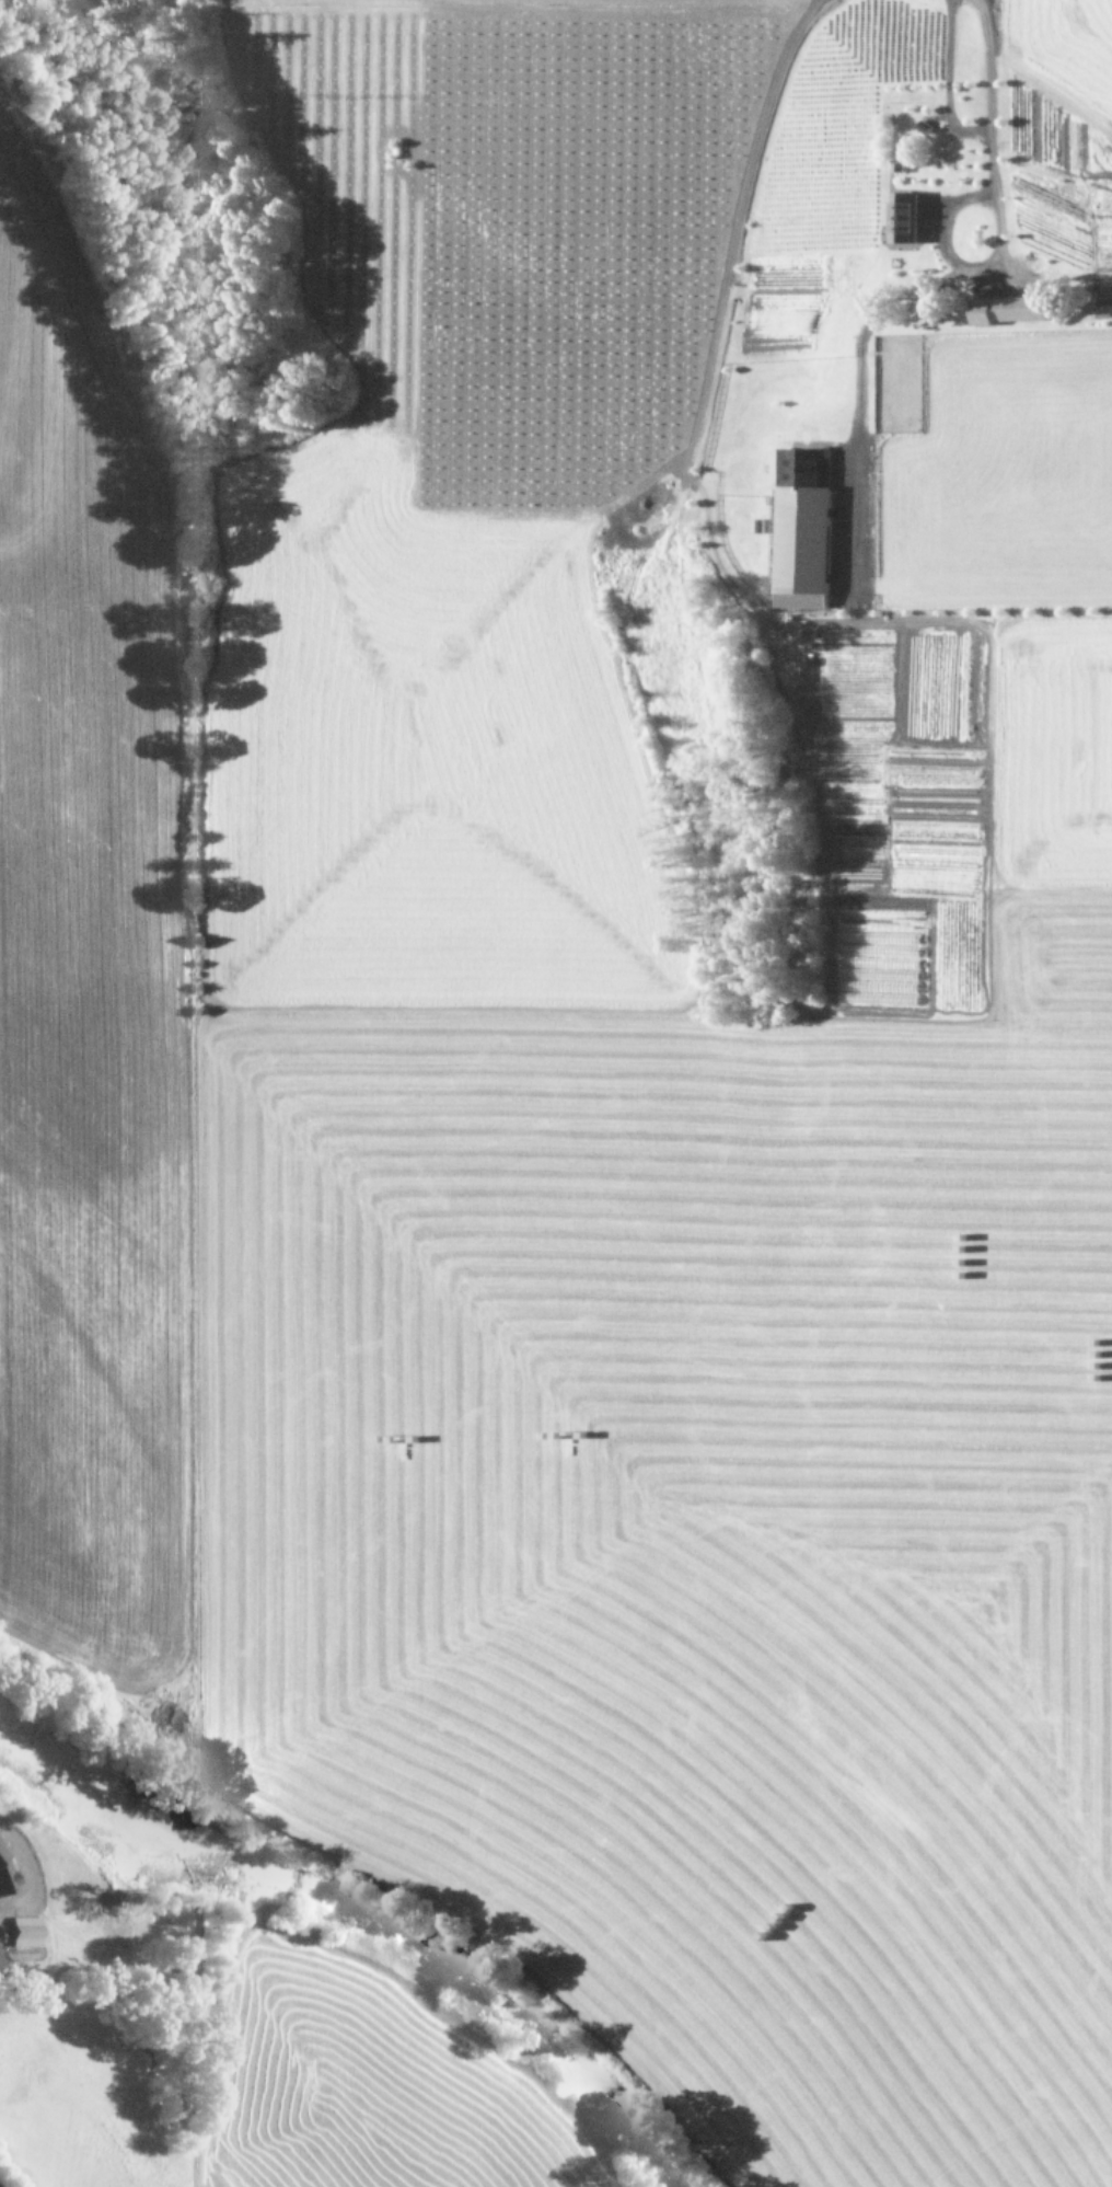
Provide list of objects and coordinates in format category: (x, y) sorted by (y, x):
road: (948, 82)
road: (989, 94)
building: (900, 216)
road: (954, 261)
building: (1006, 309)
building: (800, 527)
crop: (605, 1038)
building: (5, 1878)
building: (21, 1931)
crop: (230, 2062)

